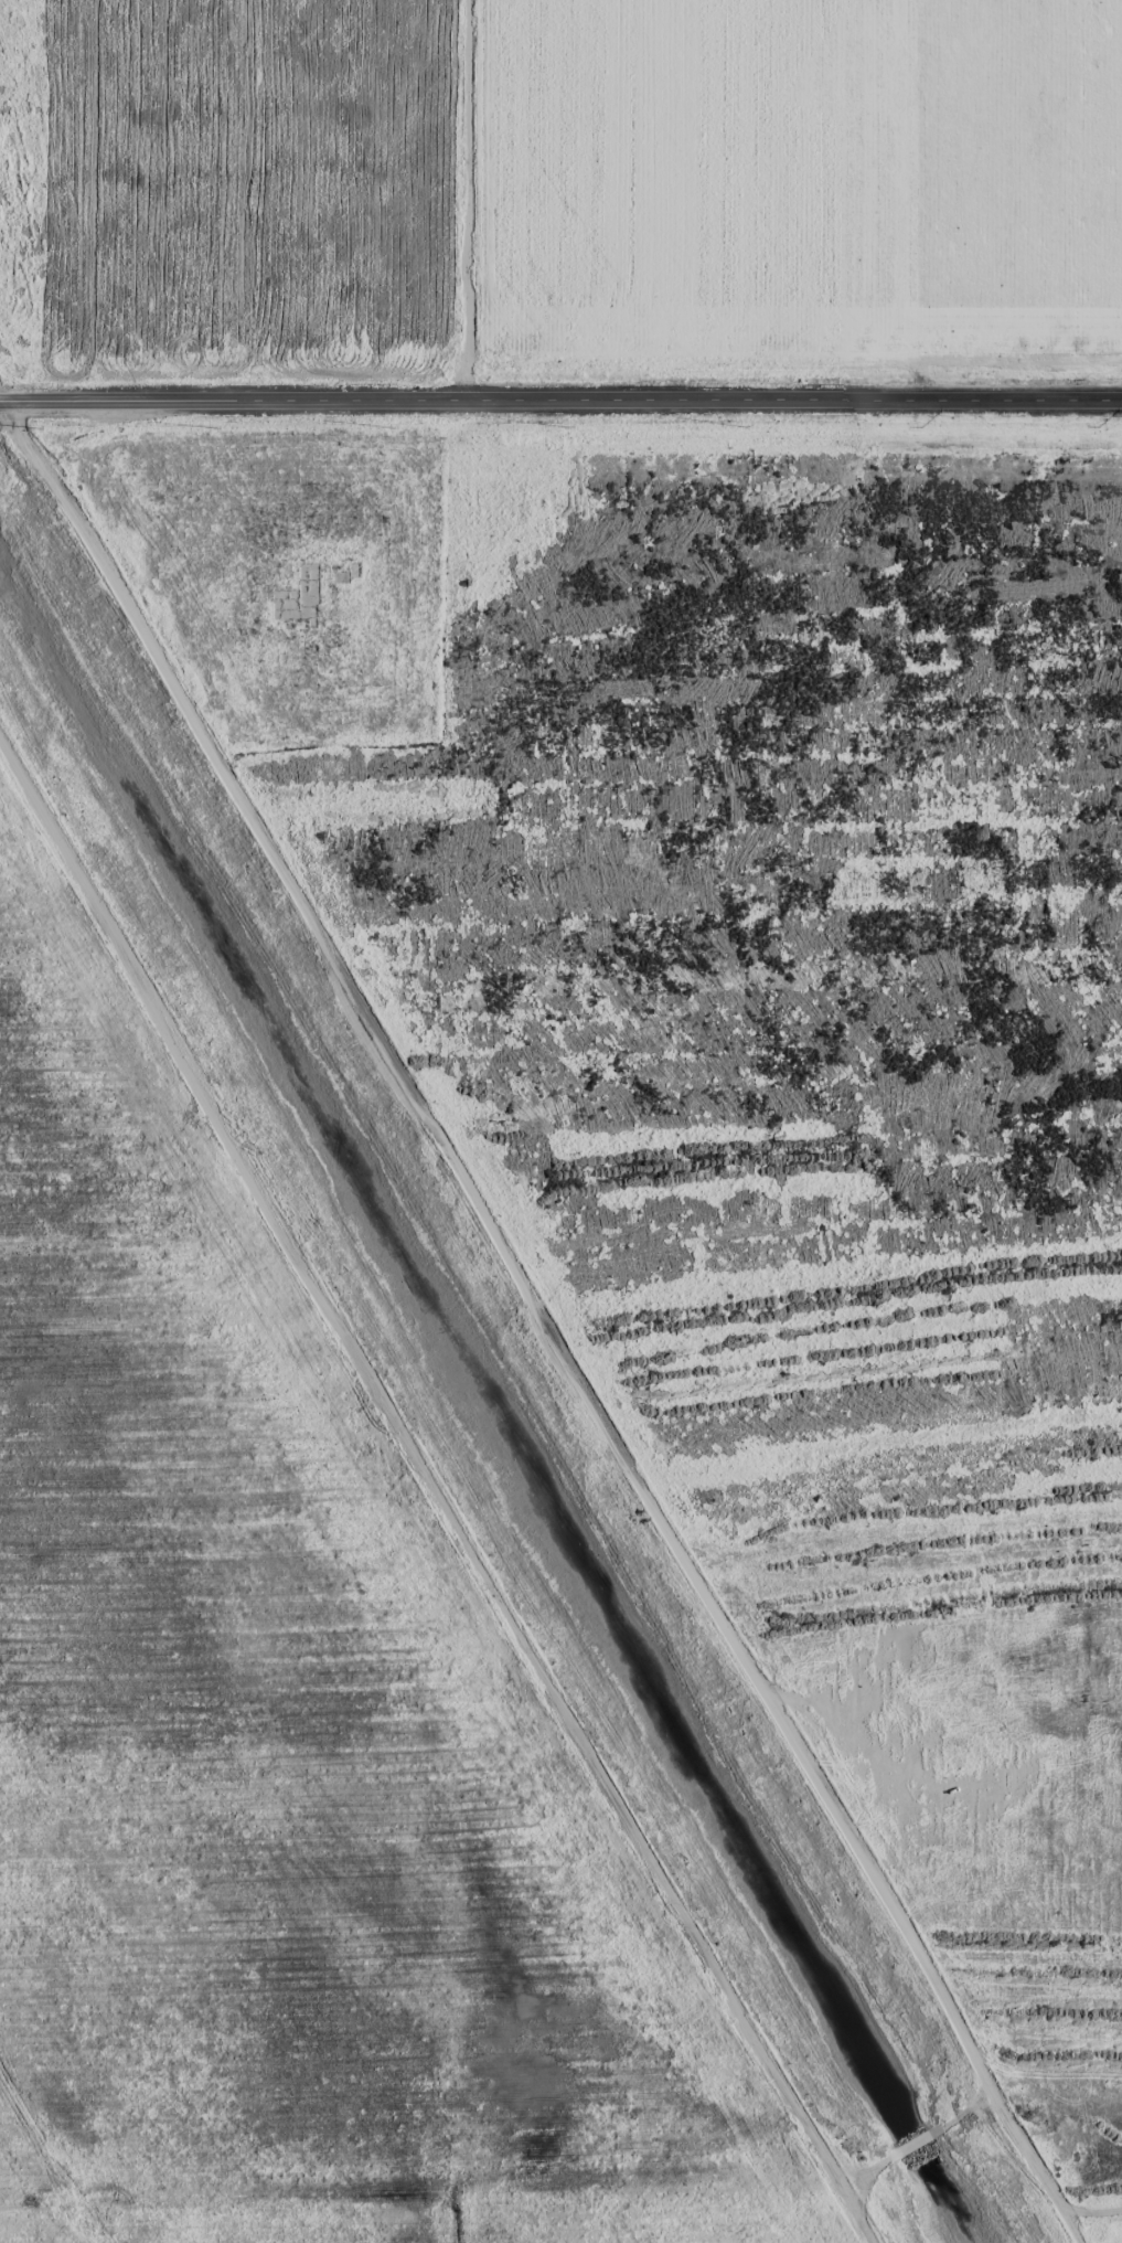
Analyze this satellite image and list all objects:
road: (469, 200)
road: (560, 400)
road: (543, 1319)
road: (1093, 2221)

